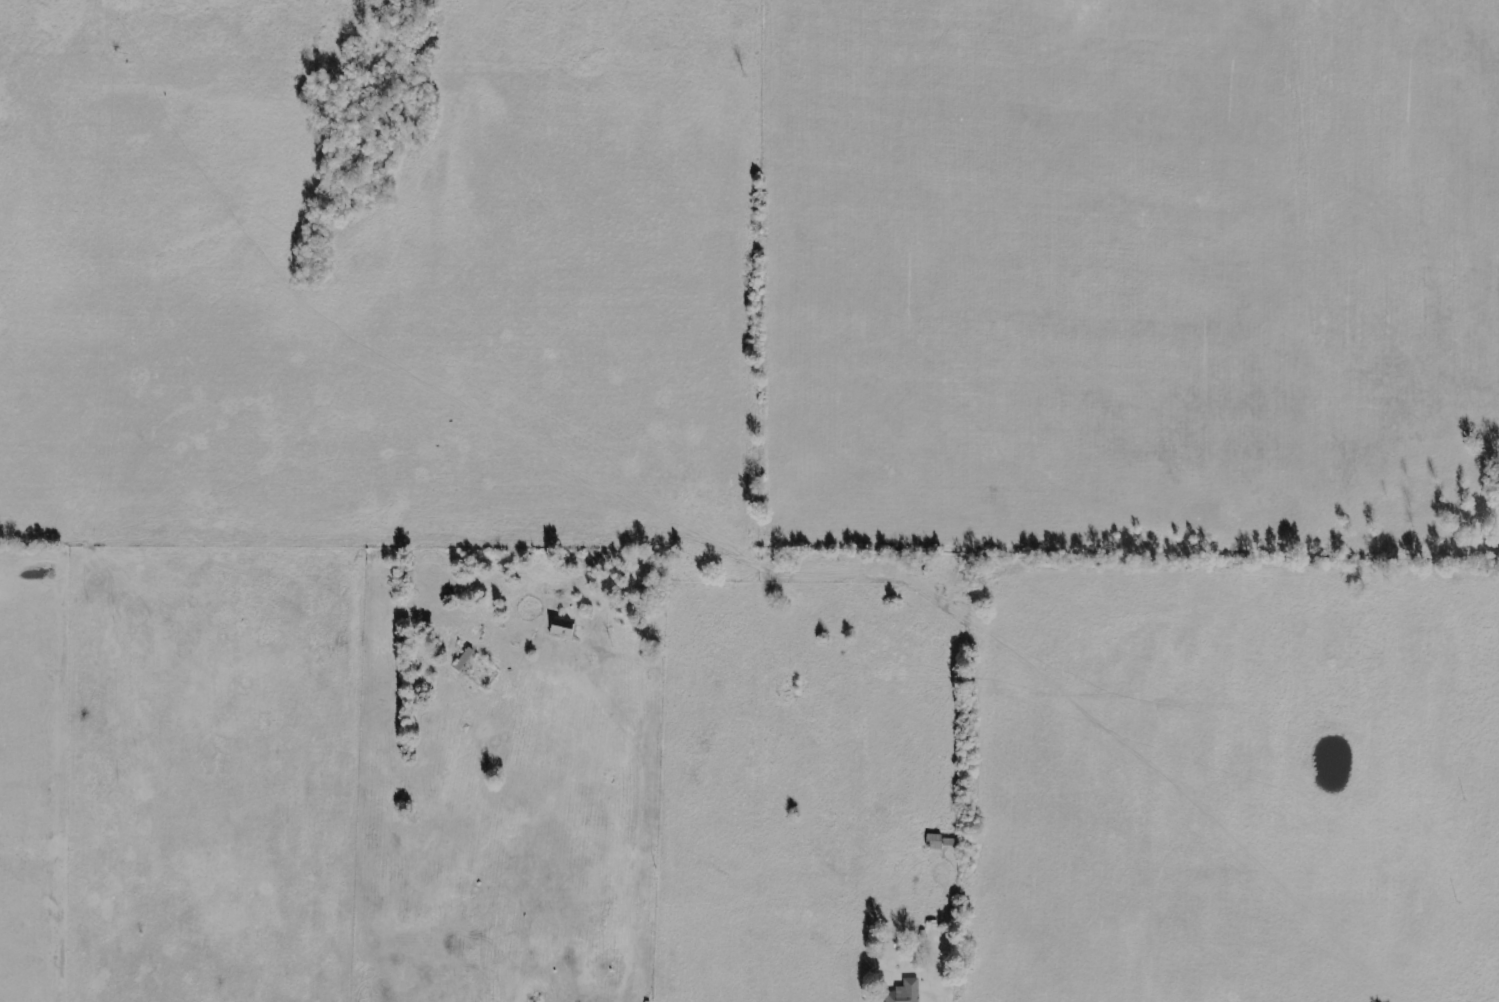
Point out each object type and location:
building: (906, 991)

